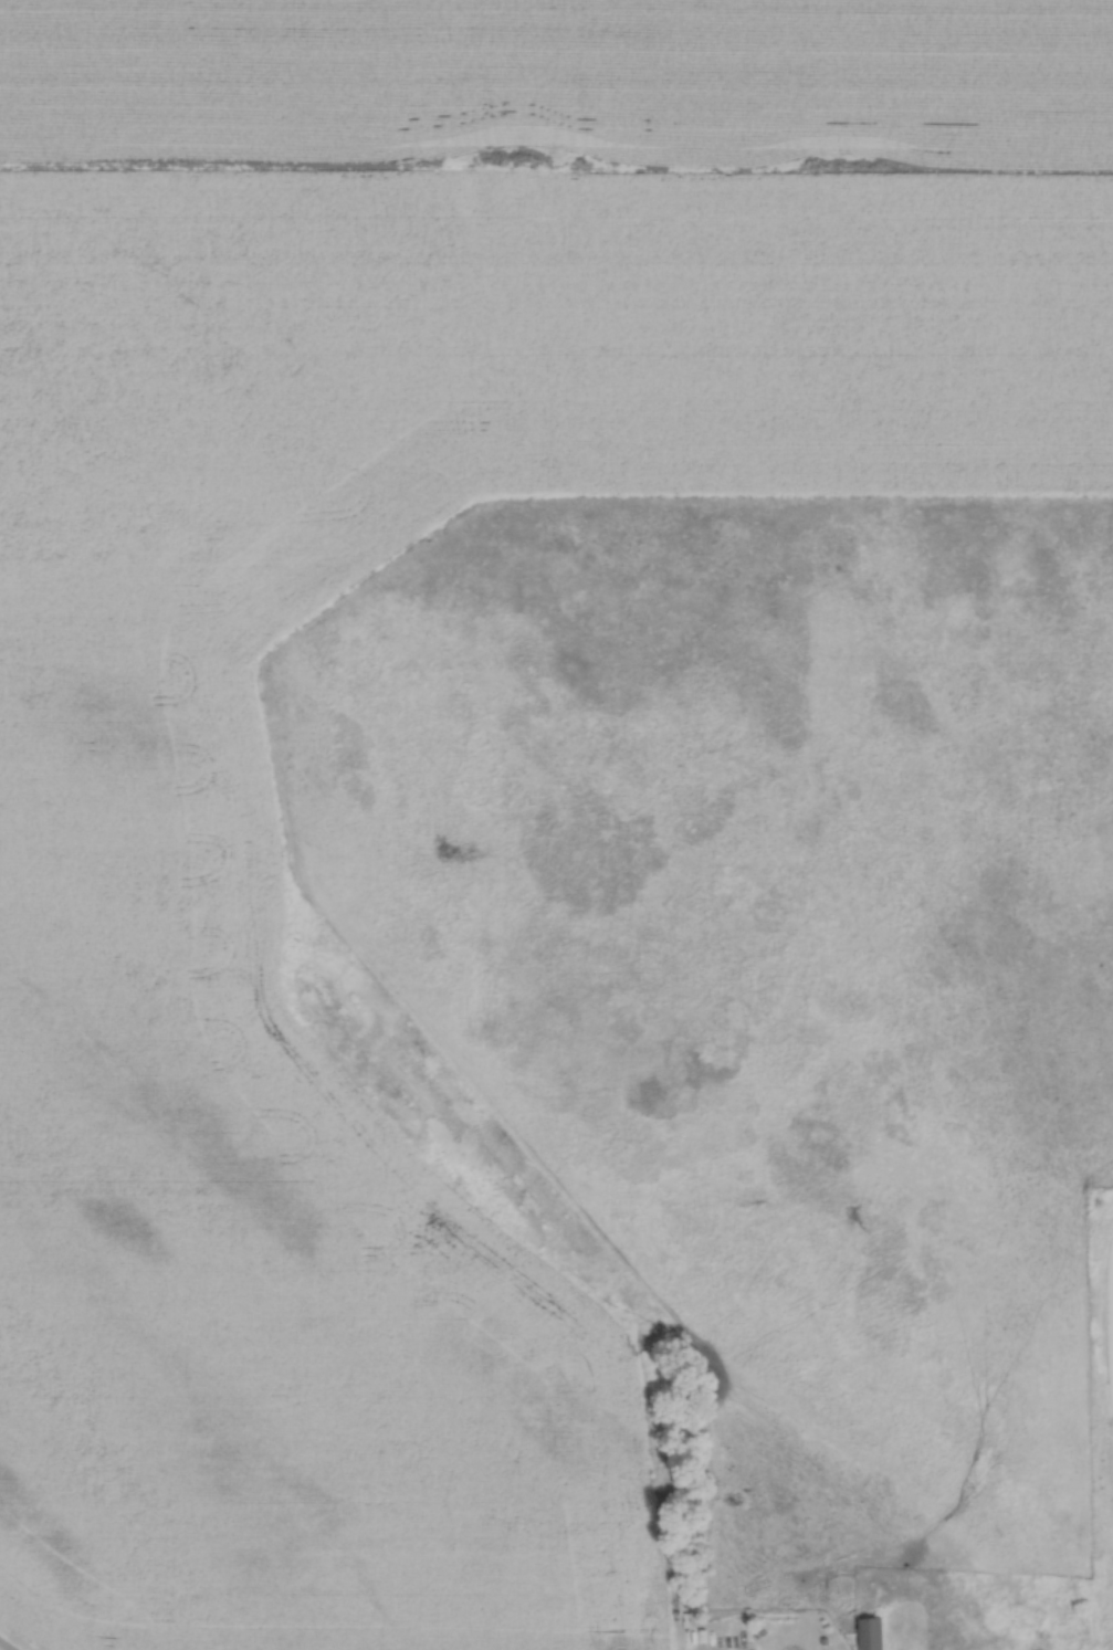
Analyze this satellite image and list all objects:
building: (874, 1632)

